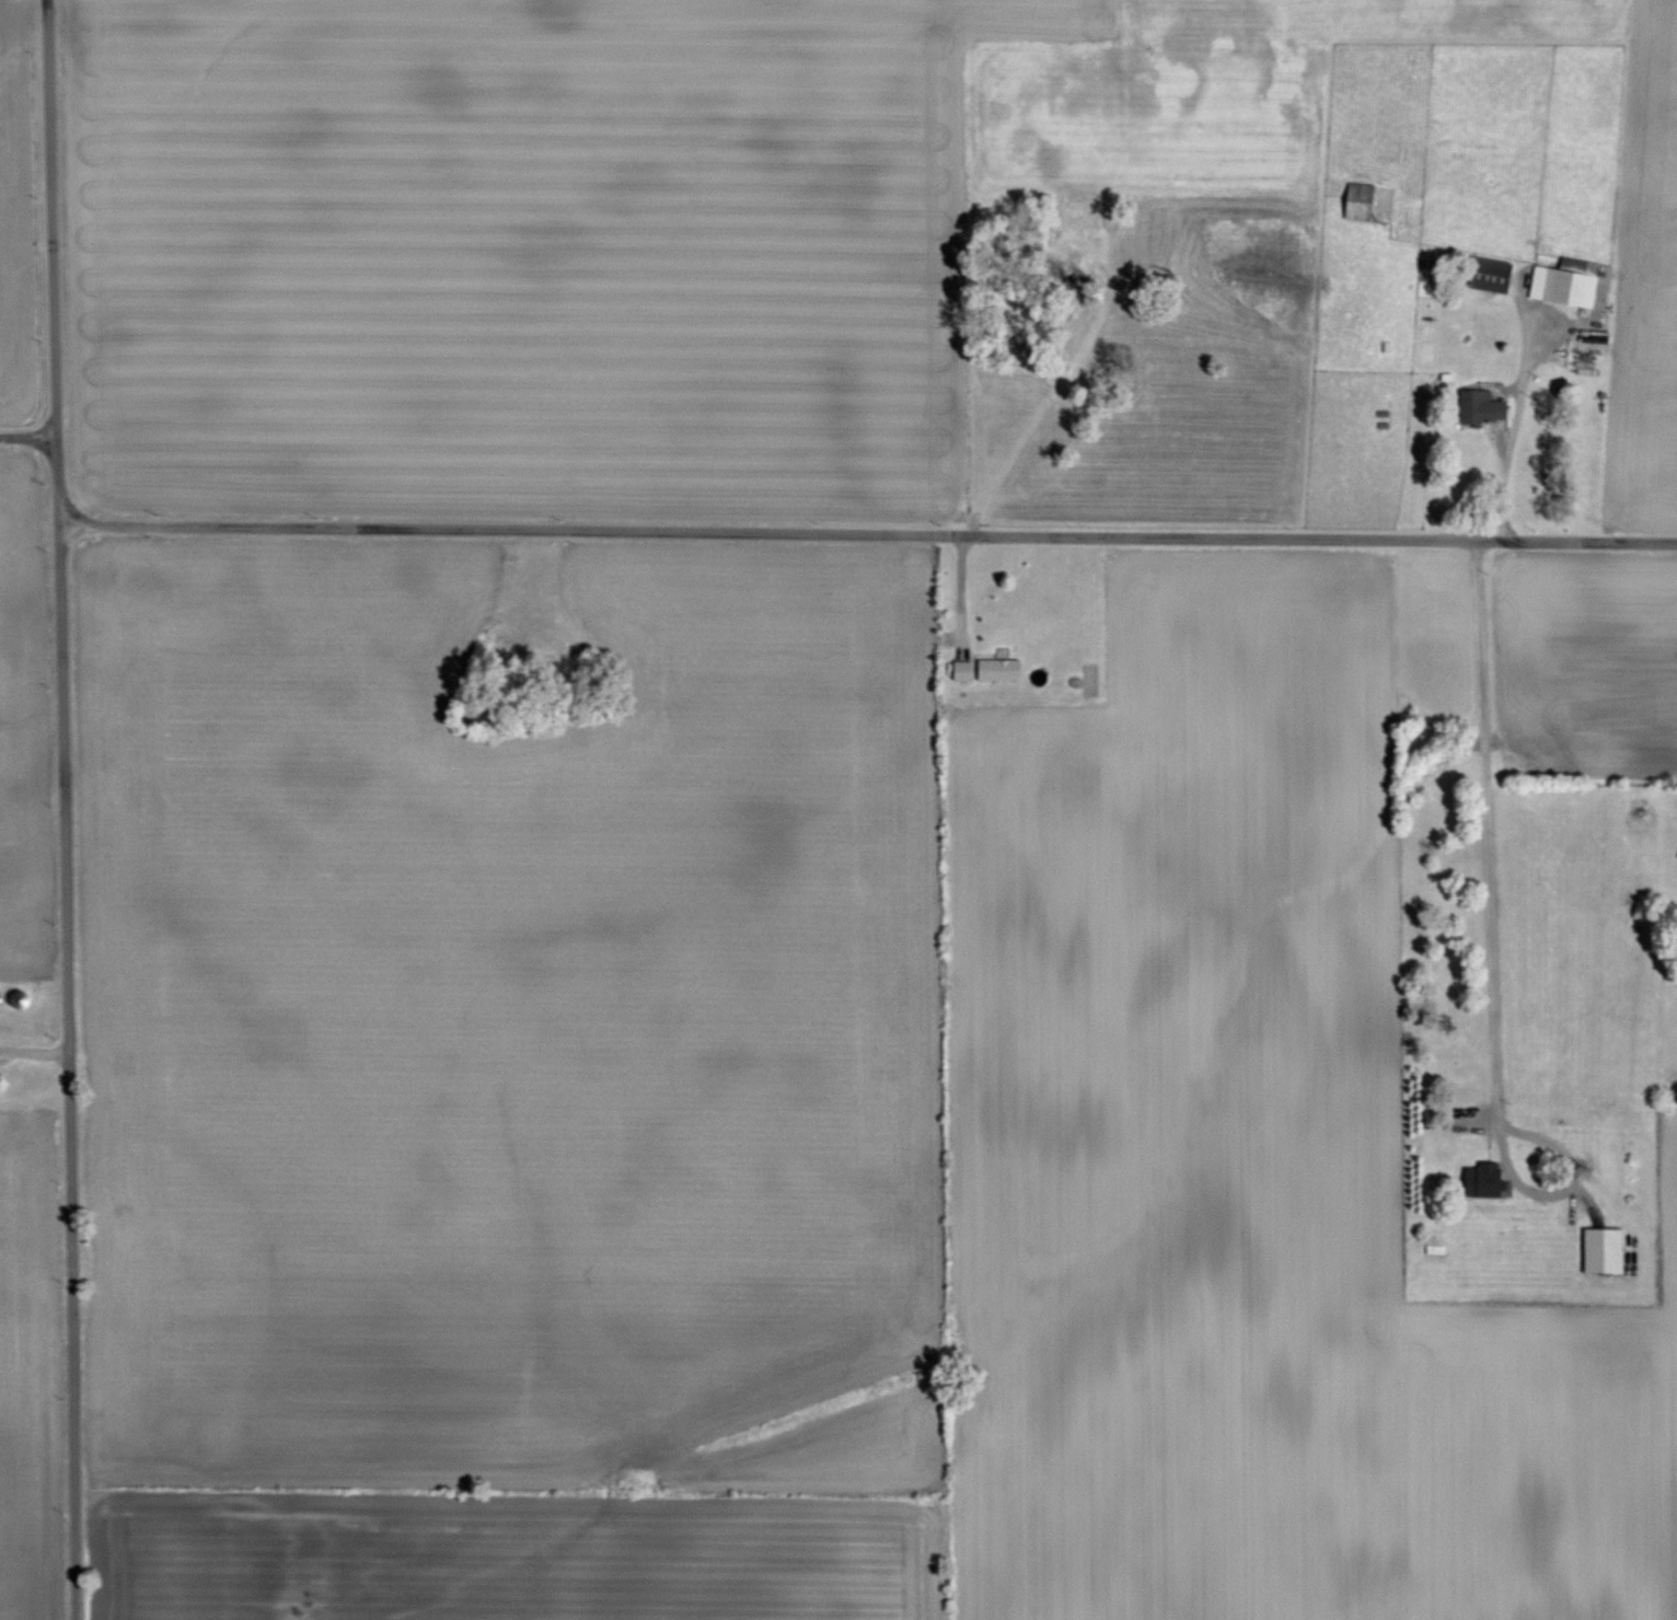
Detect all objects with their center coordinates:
building: (1360, 202)
building: (1490, 275)
building: (1566, 282)
building: (1481, 406)
road: (1515, 431)
road: (28, 436)
road: (868, 534)
road: (967, 592)
building: (998, 670)
building: (962, 671)
road: (65, 809)
road: (1492, 950)
road: (34, 1055)
building: (1482, 1181)
building: (1603, 1251)

